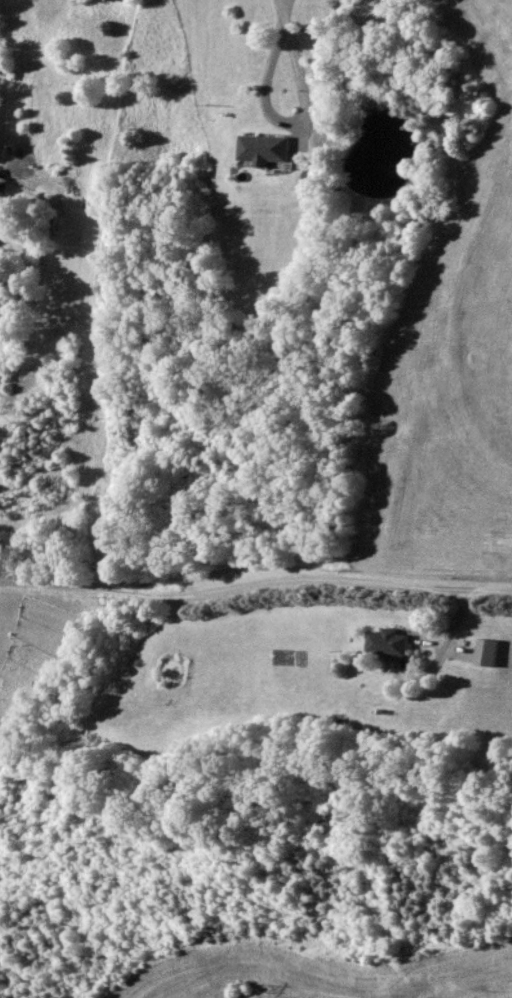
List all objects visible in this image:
road: (298, 67)
building: (271, 149)
building: (1, 178)
road: (255, 588)
building: (395, 642)
building: (491, 653)
power tower: (250, 987)

